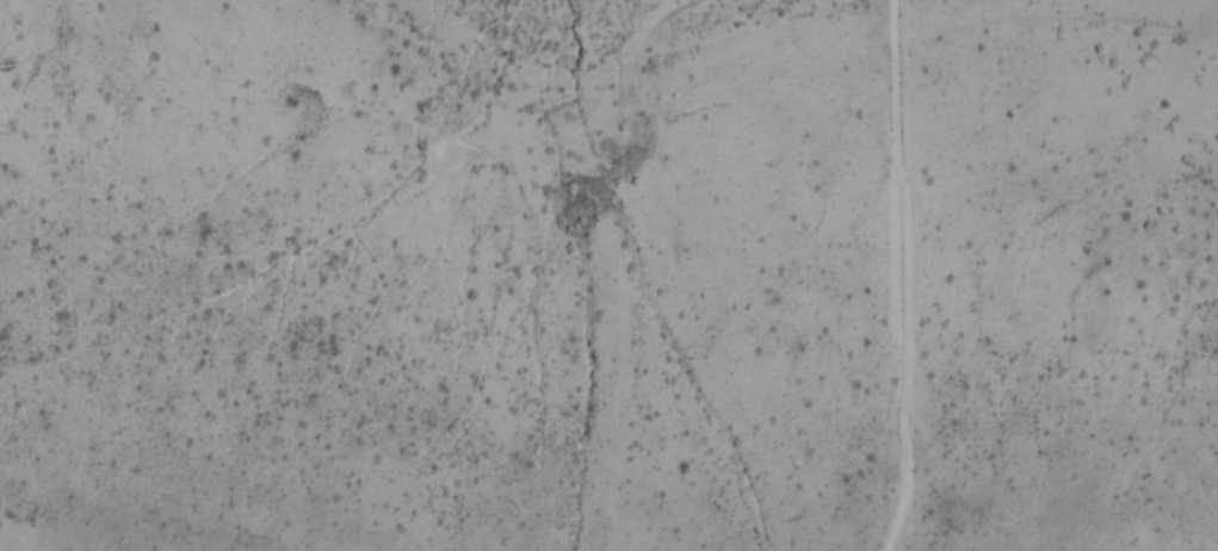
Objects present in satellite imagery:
road: (901, 275)

